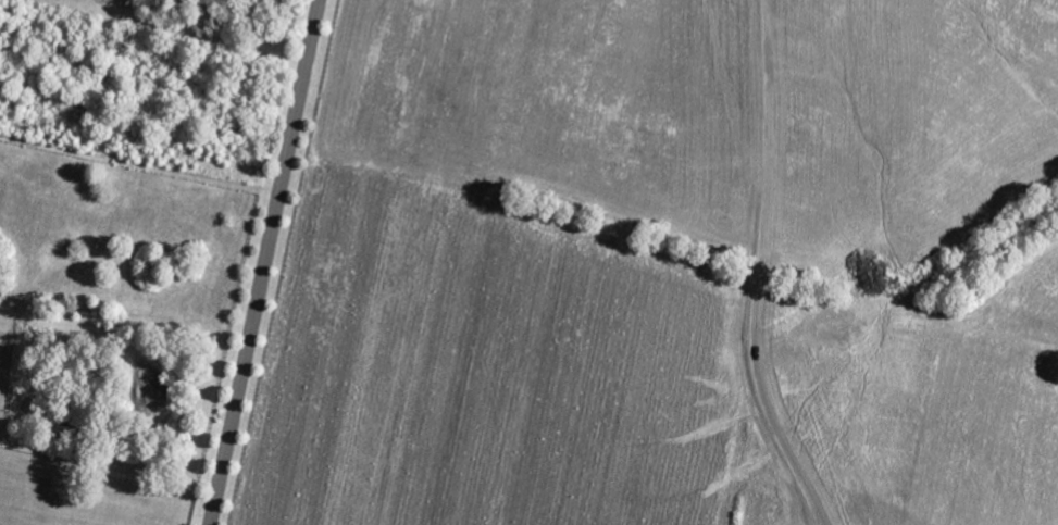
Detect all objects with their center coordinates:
road: (263, 262)
road: (759, 270)

